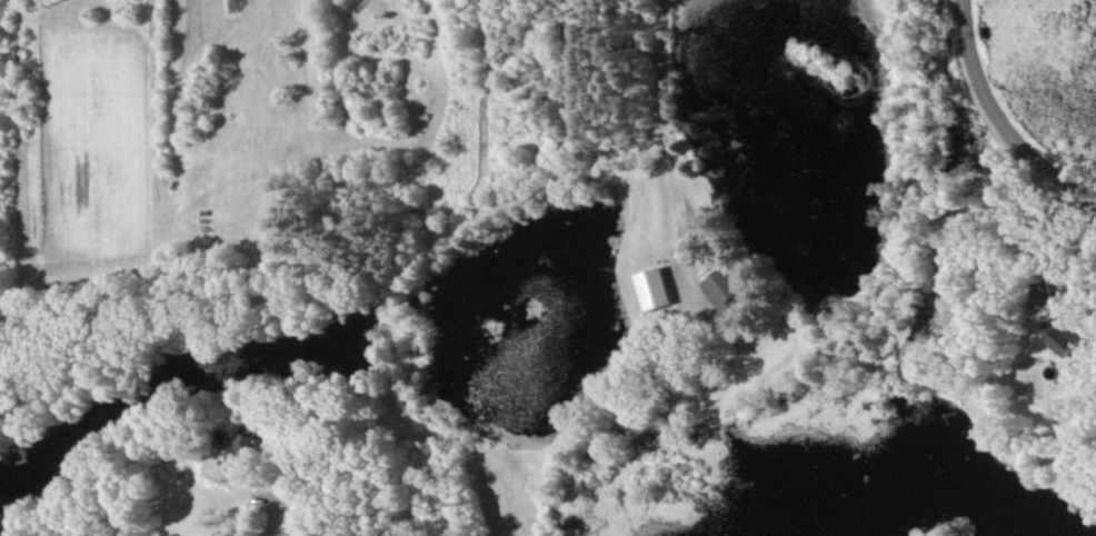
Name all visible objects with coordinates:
road: (1000, 115)
road: (664, 125)
road: (1029, 228)
building: (655, 288)
building: (726, 288)
building: (1043, 294)
building: (1064, 336)
building: (245, 454)
road: (287, 518)

